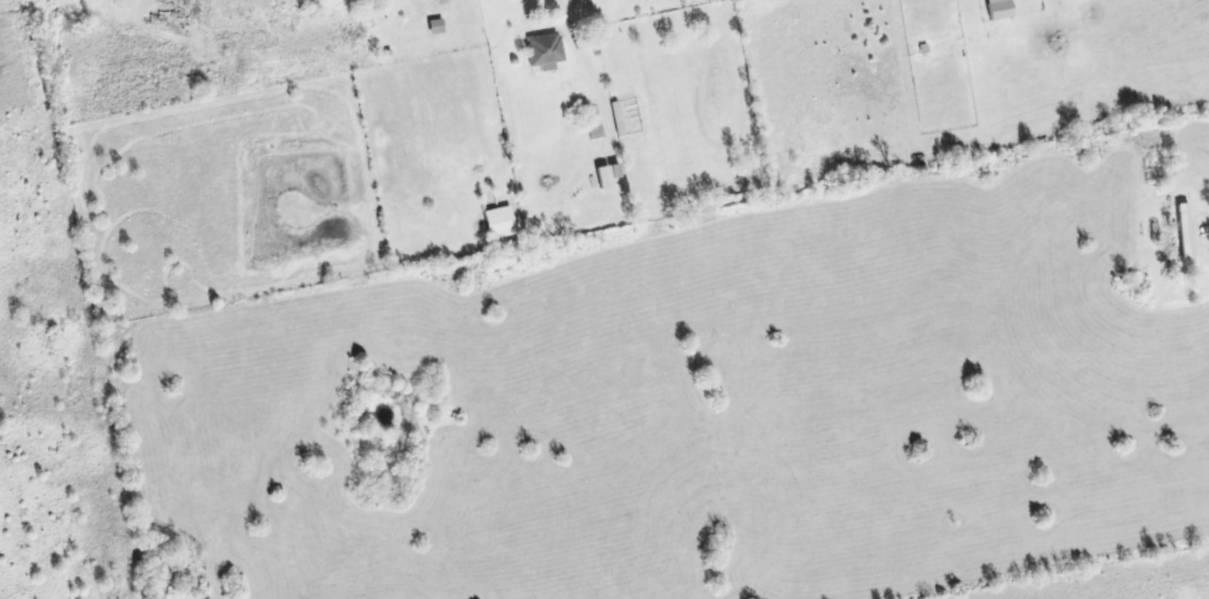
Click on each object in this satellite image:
building: (1000, 10)
building: (438, 28)
road: (578, 41)
building: (547, 53)
building: (609, 177)
building: (500, 224)
building: (1187, 232)
road: (1205, 234)

